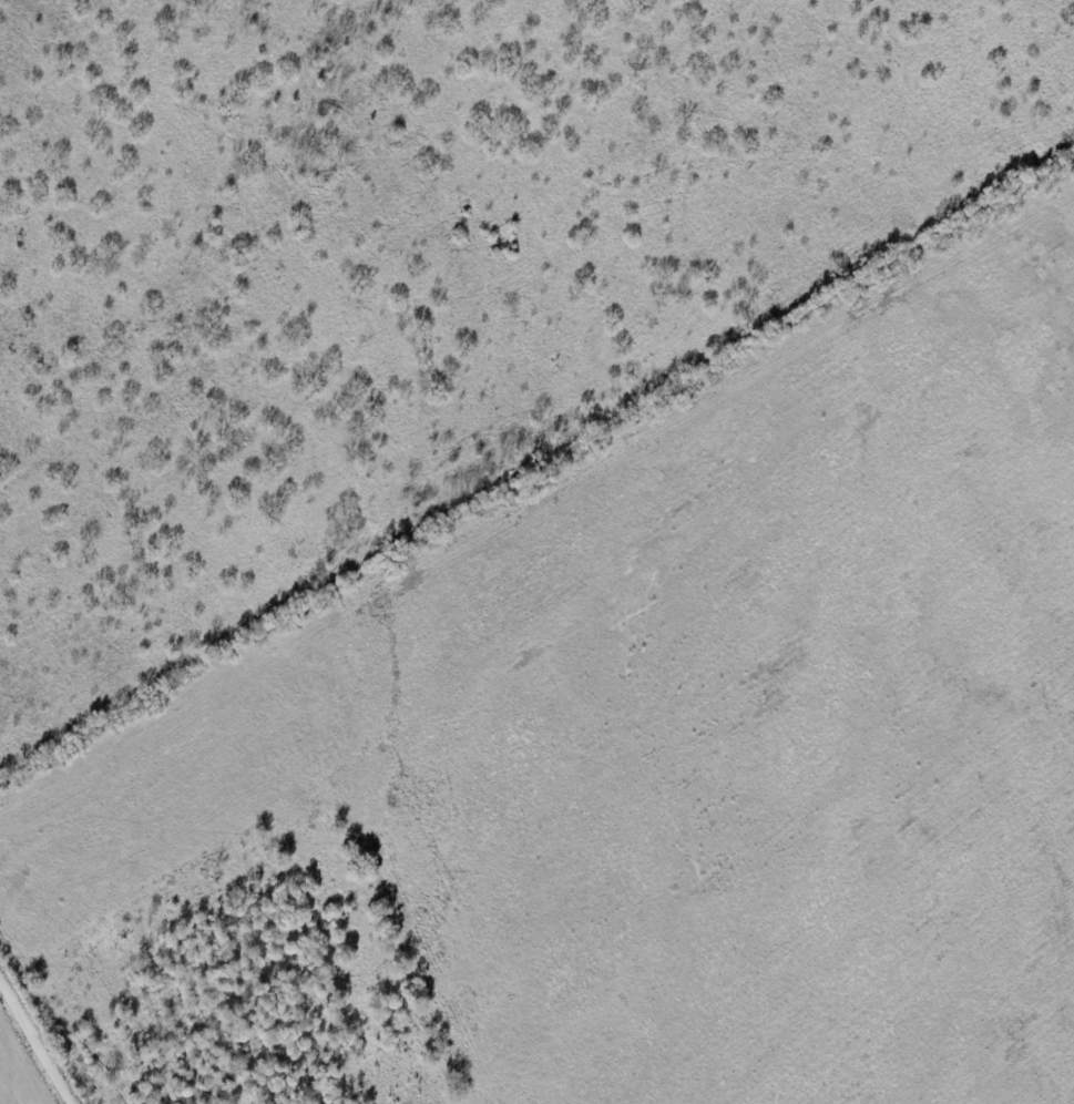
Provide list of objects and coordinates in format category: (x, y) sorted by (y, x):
road: (39, 1035)

